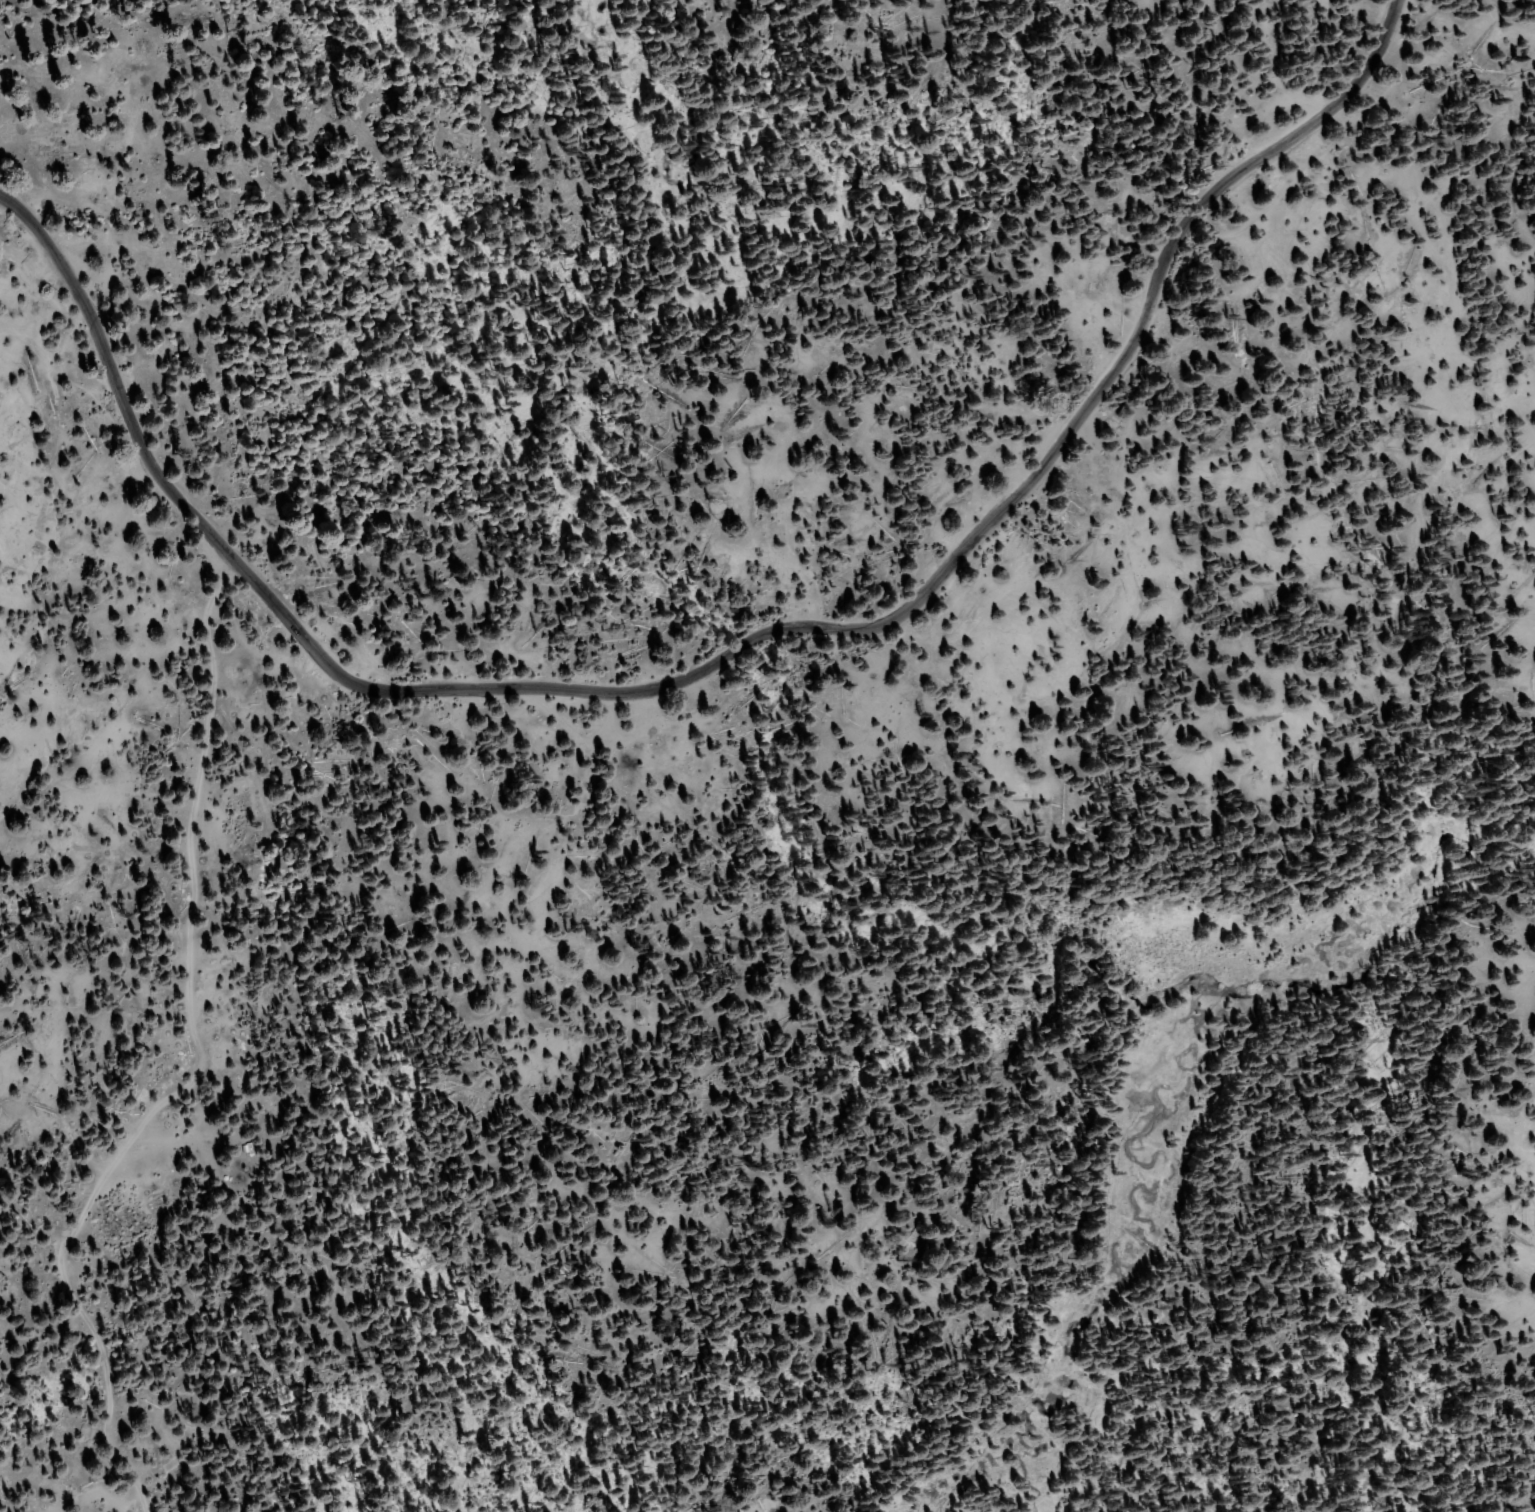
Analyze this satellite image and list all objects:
road: (727, 658)
road: (190, 1063)

